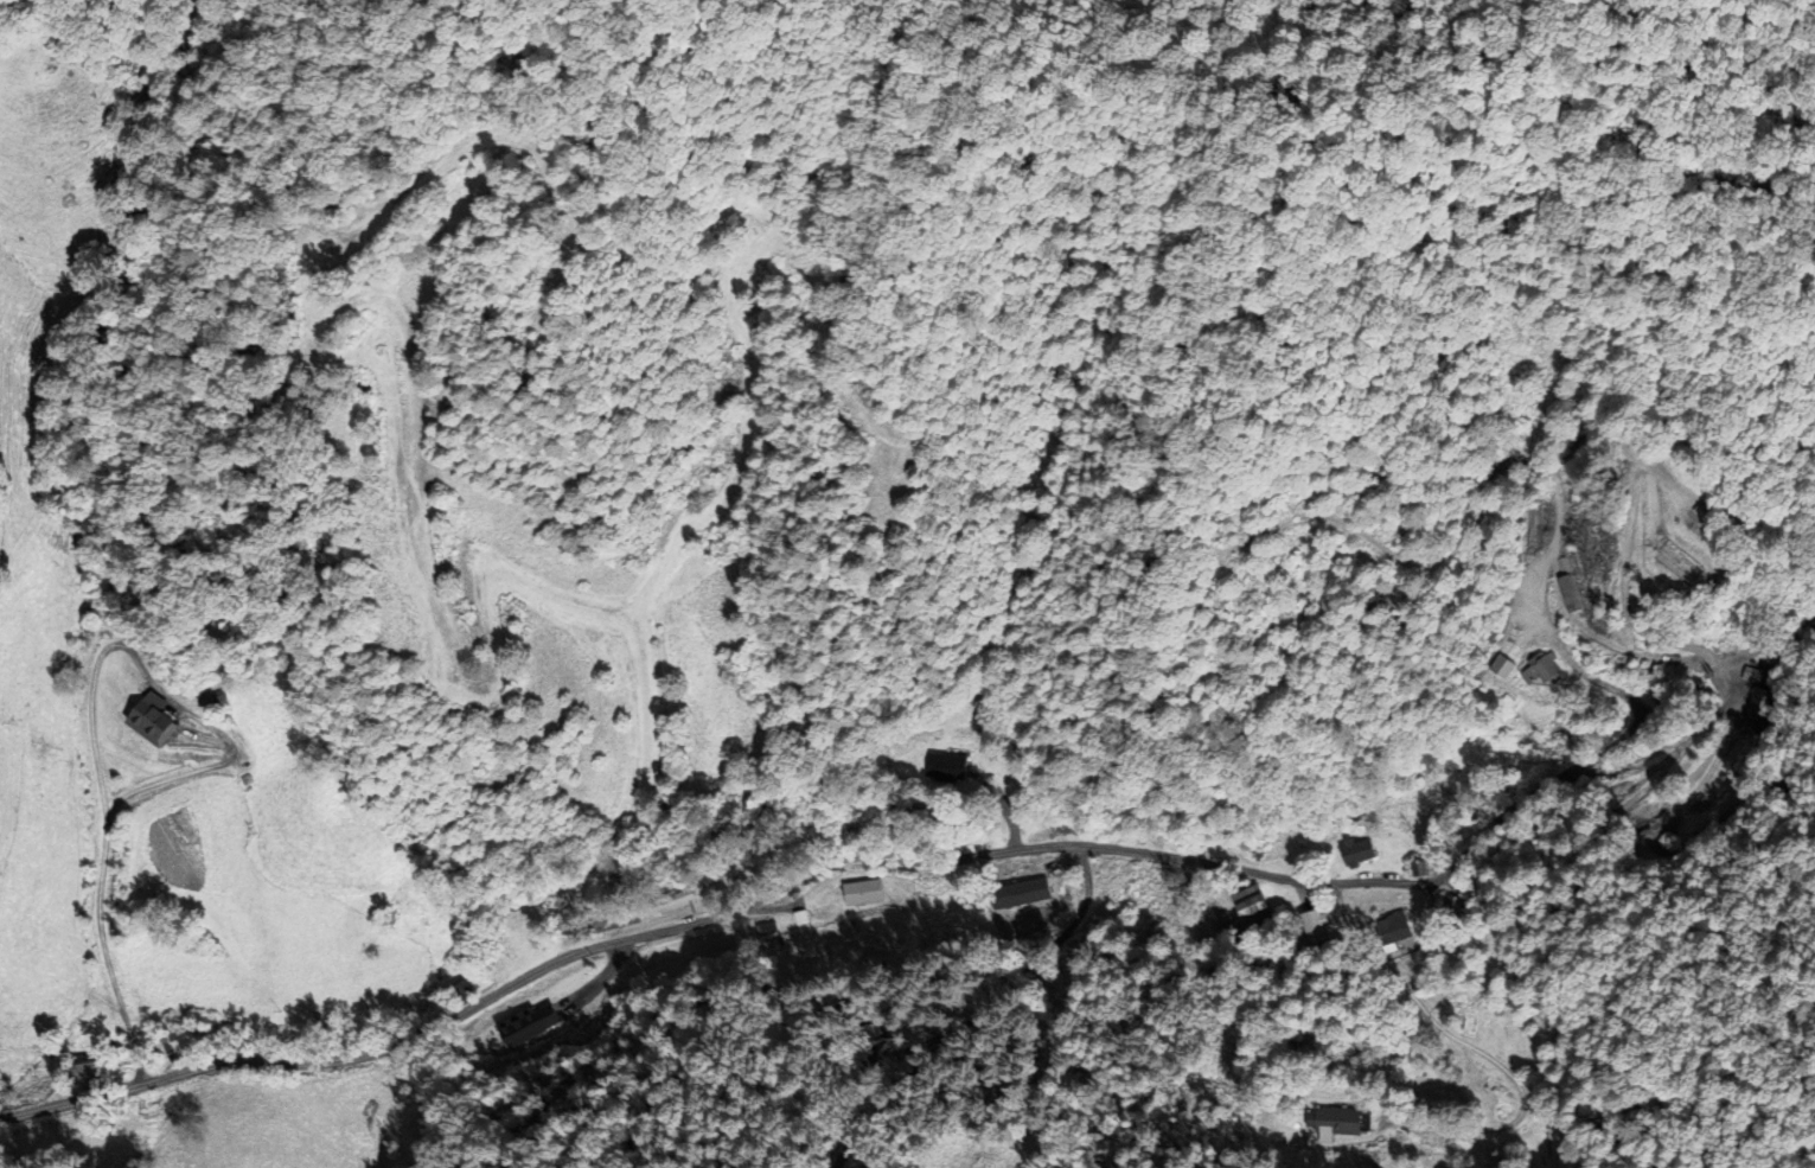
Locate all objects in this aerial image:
building: (1544, 674)
road: (1617, 739)
building: (944, 768)
road: (109, 810)
building: (1348, 853)
road: (881, 856)
building: (1016, 889)
building: (861, 893)
building: (672, 904)
building: (1245, 909)
building: (1190, 915)
building: (1305, 927)
building: (1385, 930)
building: (462, 993)
road: (122, 1009)
road: (979, 1014)
building: (522, 1026)
building: (190, 1045)
road: (134, 1053)
building: (77, 1071)
building: (1329, 1123)

